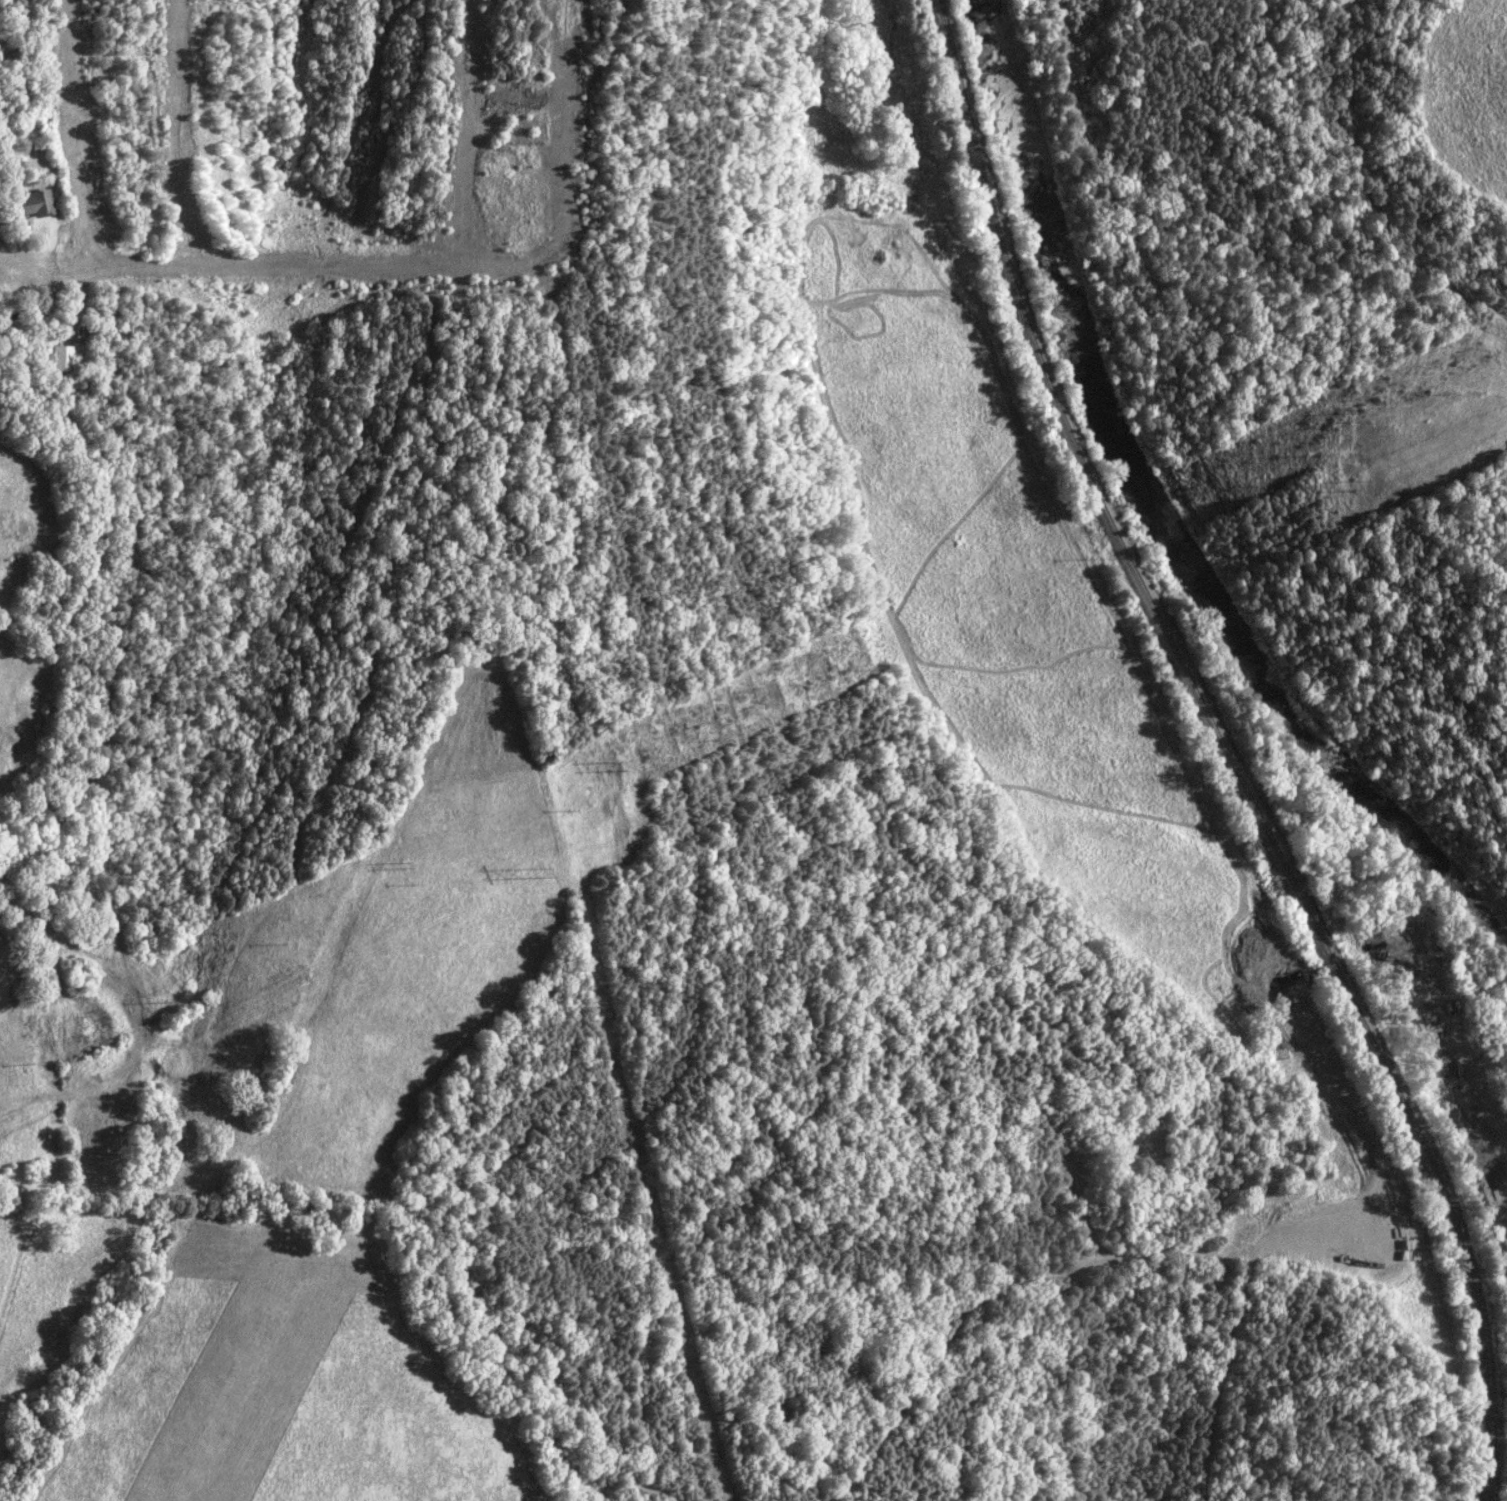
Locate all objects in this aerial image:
building: (32, 204)
road: (10, 254)
building: (59, 358)
power tower: (1348, 420)
power tower: (1353, 487)
railway: (1223, 751)
power tower: (609, 767)
power tower: (402, 865)
power tower: (533, 873)
park: (1138, 1119)

